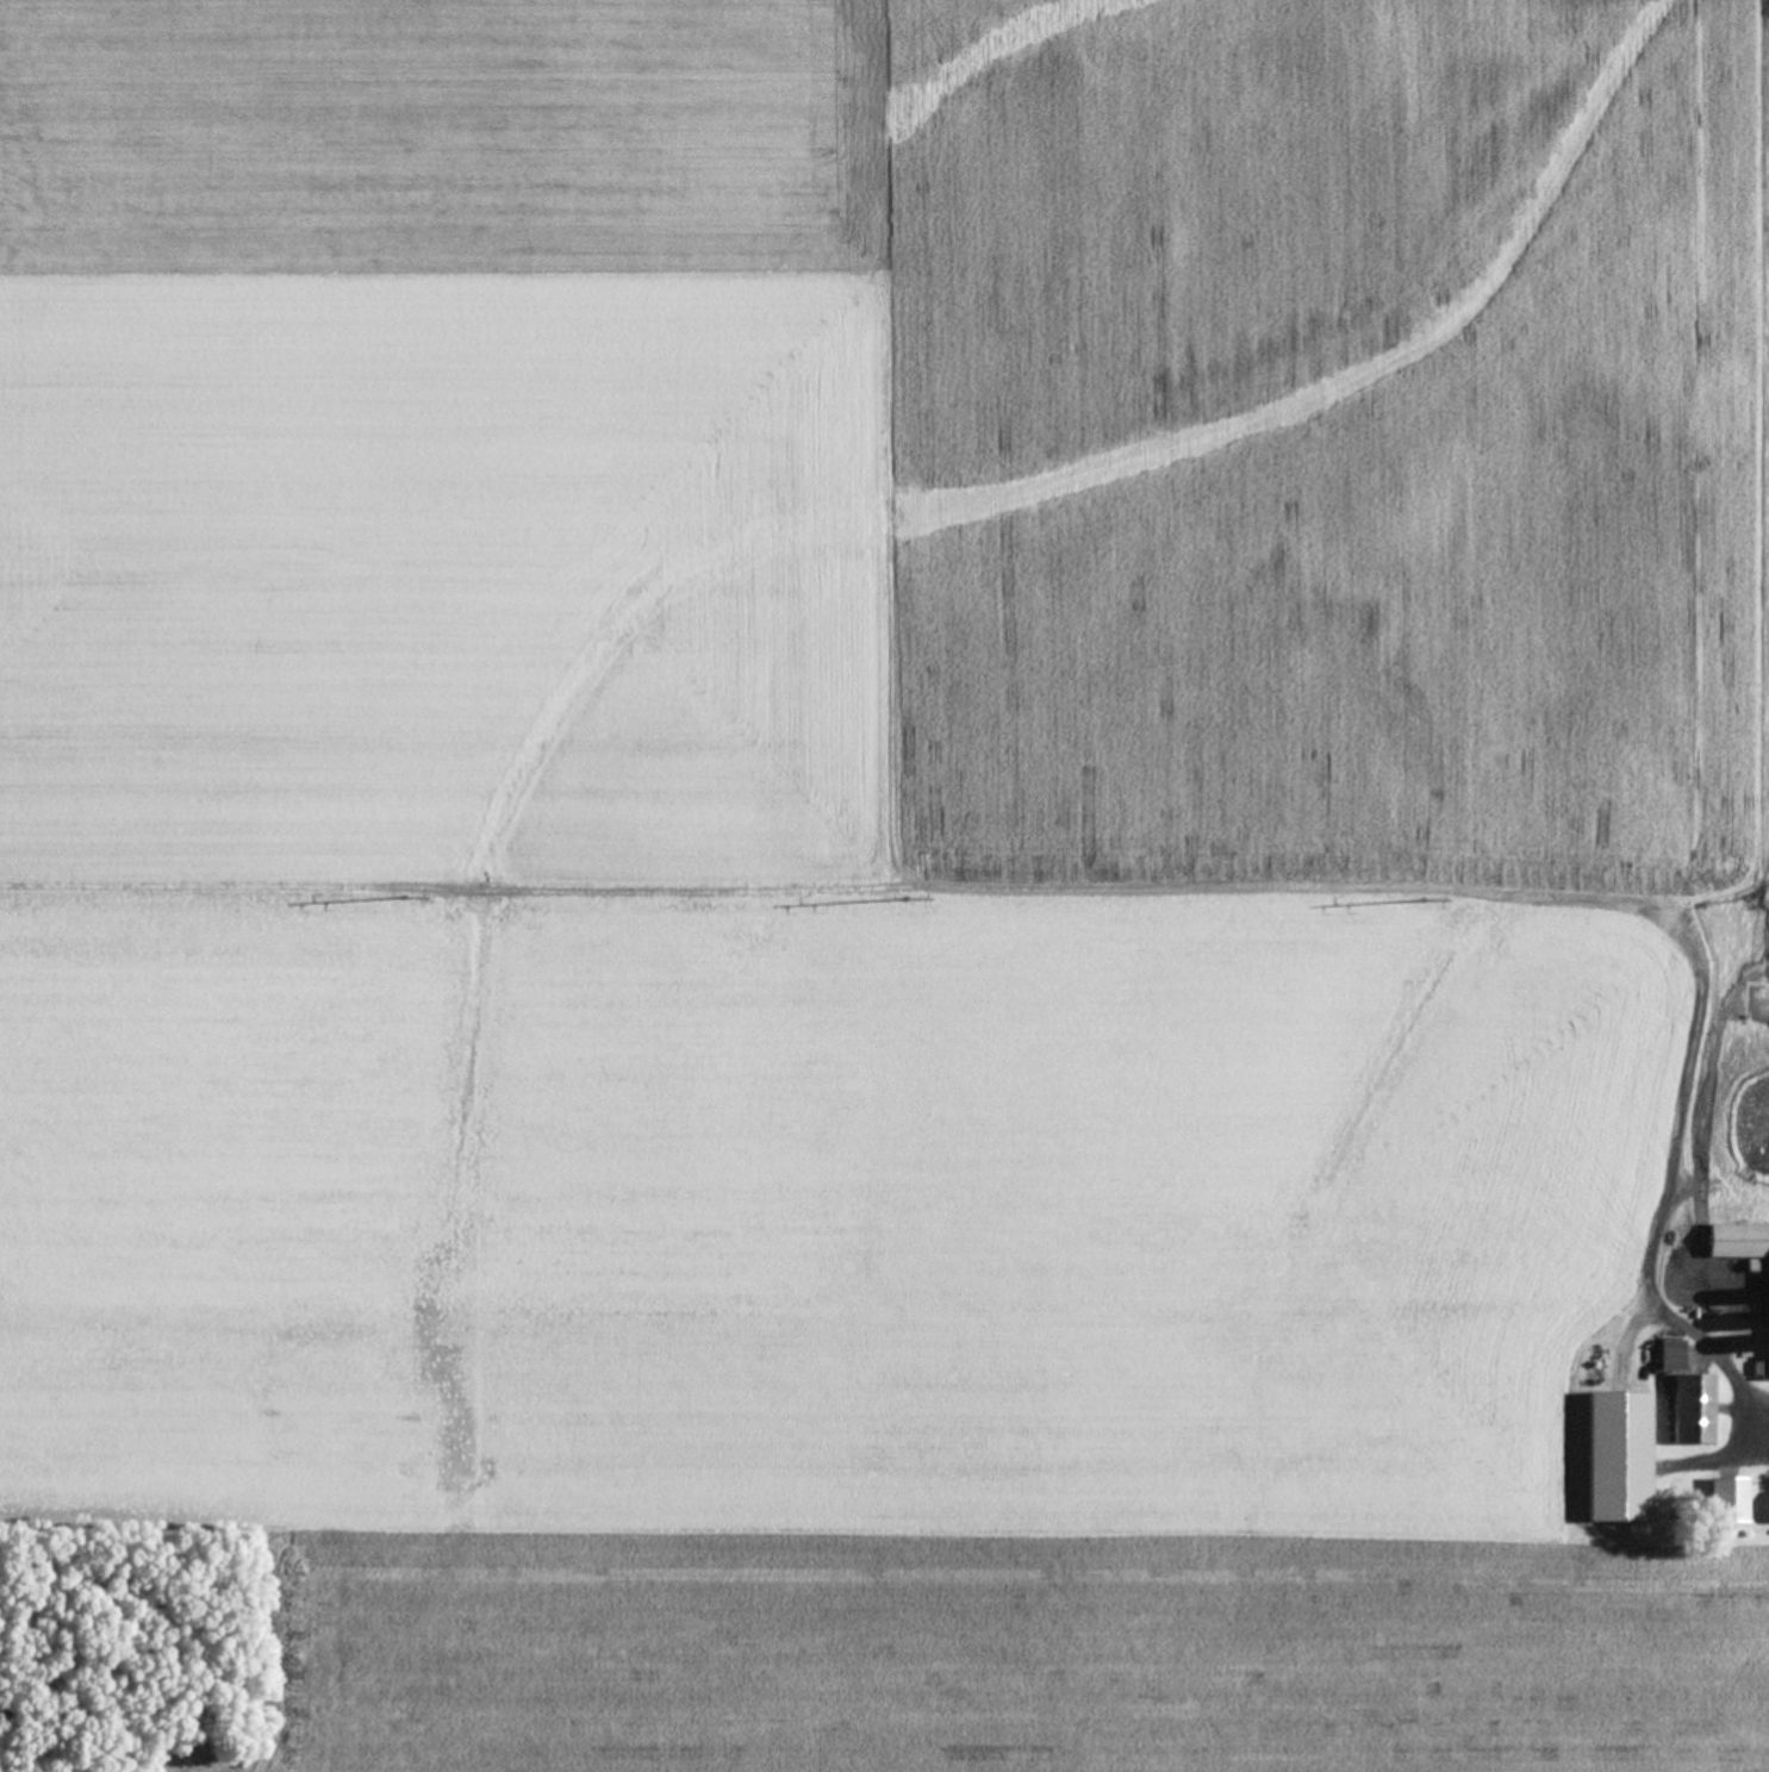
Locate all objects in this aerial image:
building: (1734, 1241)
road: (1715, 1359)
building: (1686, 1398)
building: (1615, 1458)
building: (1725, 1500)
building: (1767, 1508)

